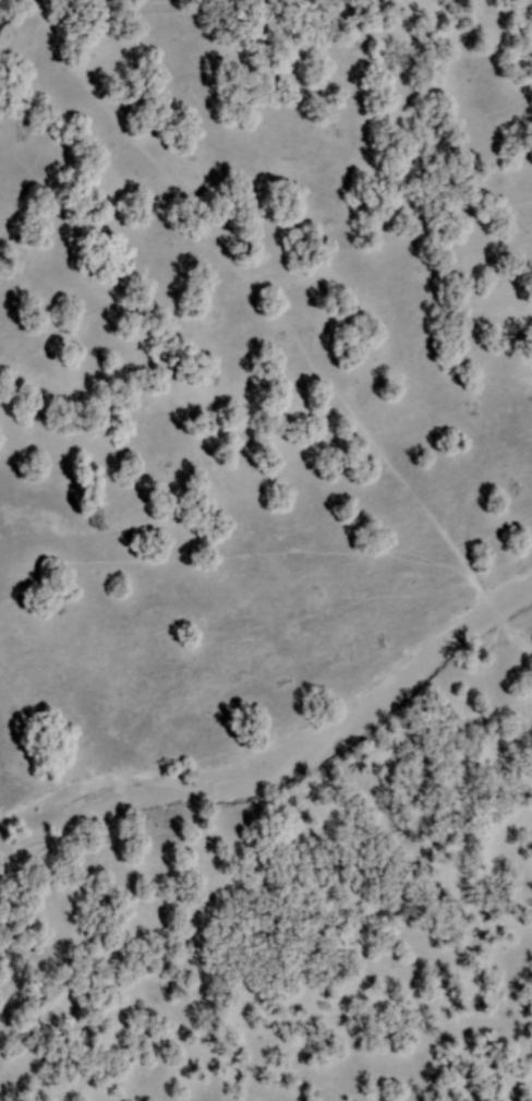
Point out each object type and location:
river: (287, 767)

